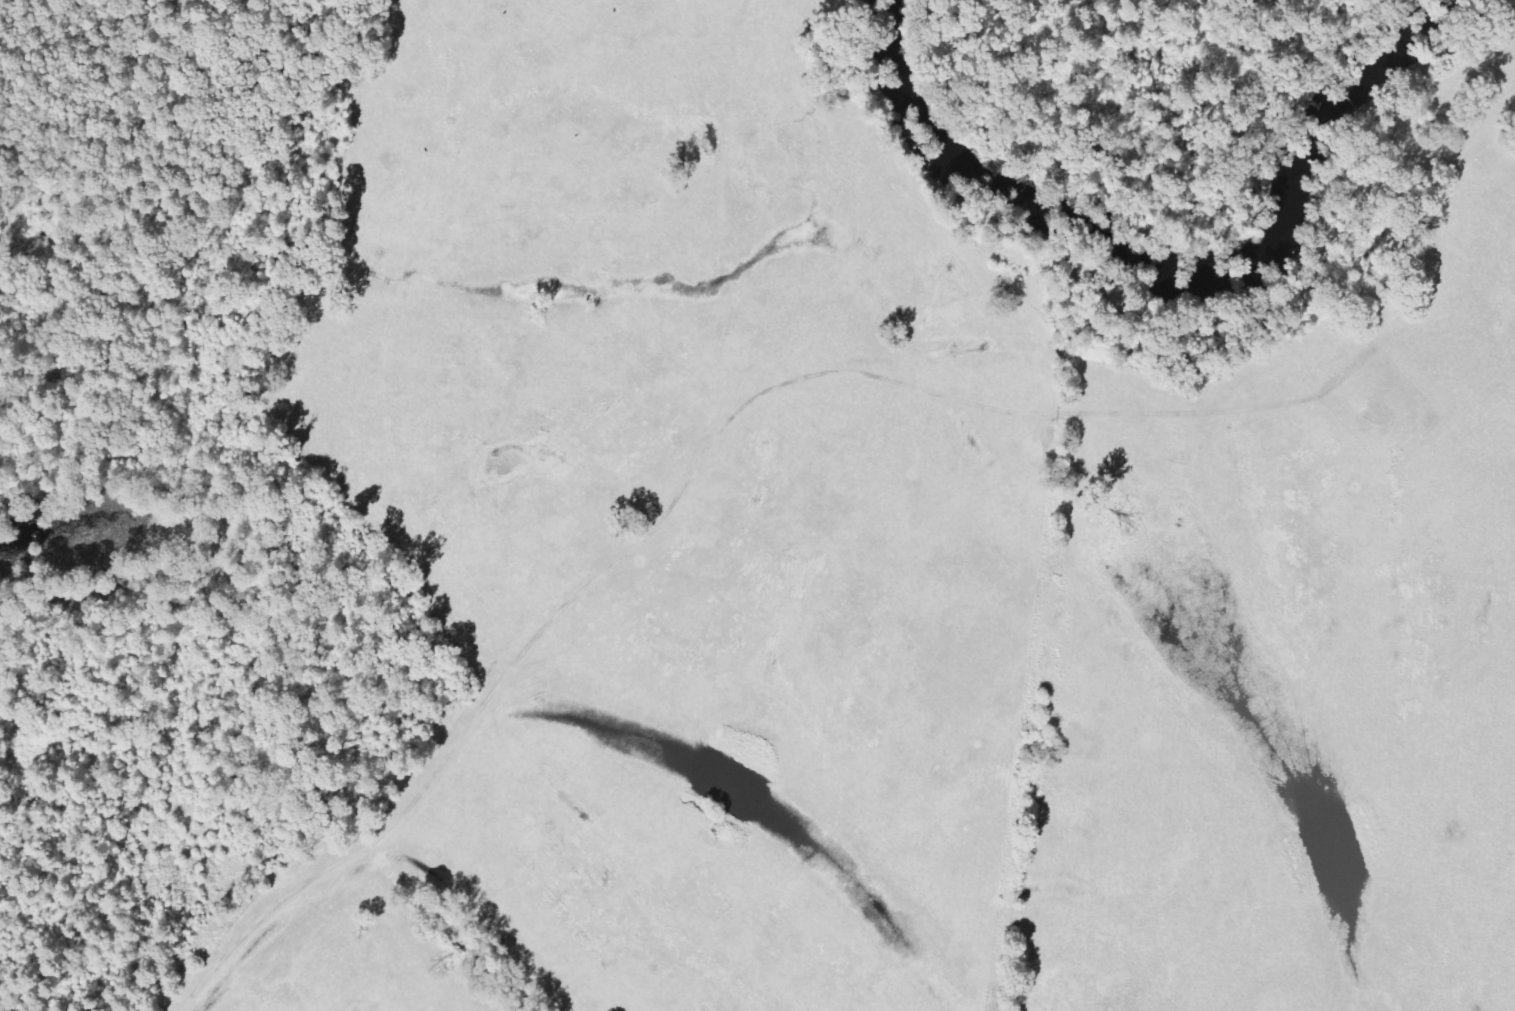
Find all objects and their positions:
river: (1178, 271)

